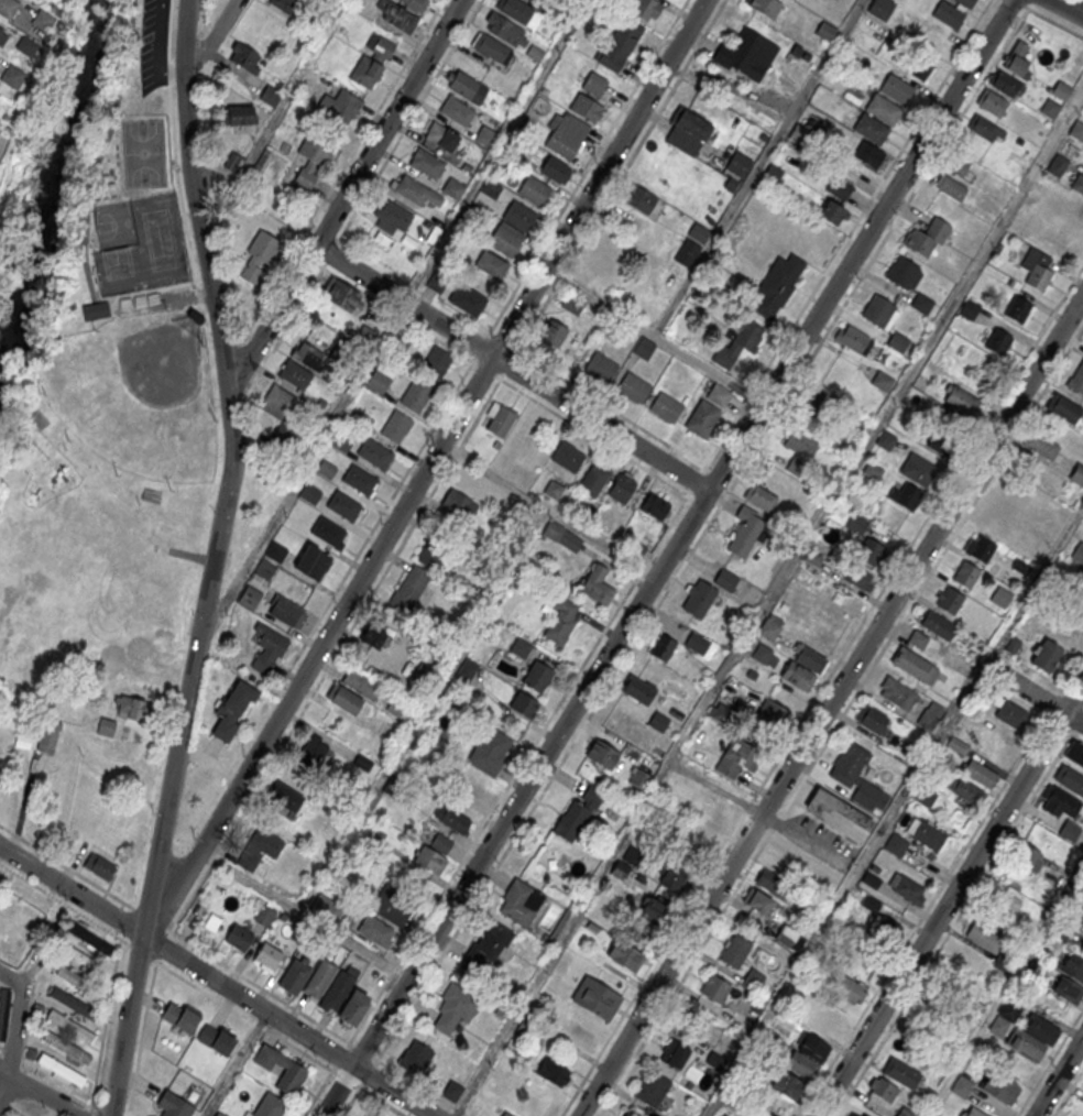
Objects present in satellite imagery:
building: (529, 0)
road: (1020, 3)
building: (415, 4)
road: (1073, 4)
building: (287, 6)
building: (765, 7)
building: (8, 8)
building: (880, 8)
building: (646, 9)
building: (515, 10)
building: (952, 12)
building: (398, 17)
building: (43, 20)
road: (1054, 21)
building: (504, 29)
building: (825, 31)
building: (2, 36)
road: (216, 36)
parking lot: (153, 44)
building: (617, 44)
building: (26, 45)
building: (491, 47)
road: (154, 50)
building: (746, 53)
building: (244, 58)
building: (372, 61)
building: (1017, 61)
building: (920, 64)
building: (13, 76)
building: (593, 84)
building: (1005, 84)
building: (466, 86)
building: (896, 88)
building: (1061, 89)
building: (269, 96)
building: (992, 101)
building: (340, 107)
building: (587, 108)
building: (1050, 108)
building: (883, 109)
building: (457, 110)
road: (278, 113)
building: (238, 116)
road: (409, 119)
building: (690, 123)
building: (871, 129)
building: (986, 129)
building: (1076, 130)
building: (566, 133)
building: (485, 138)
building: (440, 139)
road: (173, 147)
road: (102, 152)
road: (494, 152)
park: (142, 154)
building: (868, 154)
building: (426, 163)
building: (311, 164)
building: (737, 164)
building: (956, 165)
road: (757, 167)
building: (555, 169)
river: (53, 180)
road: (579, 180)
building: (1077, 183)
building: (951, 186)
building: (839, 187)
road: (612, 188)
building: (533, 192)
building: (416, 194)
road: (343, 196)
building: (637, 199)
building: (1079, 210)
building: (831, 212)
building: (392, 217)
building: (631, 225)
park: (114, 227)
building: (511, 229)
building: (698, 232)
building: (928, 236)
park: (146, 251)
building: (687, 252)
building: (258, 258)
building: (490, 266)
building: (1036, 267)
building: (902, 272)
building: (777, 284)
road: (150, 294)
building: (343, 297)
building: (467, 300)
building: (921, 303)
building: (571, 305)
building: (970, 308)
building: (1020, 310)
building: (879, 311)
building: (95, 314)
building: (551, 335)
road: (654, 336)
building: (853, 339)
building: (898, 341)
building: (997, 341)
building: (737, 342)
building: (644, 348)
building: (306, 355)
building: (436, 362)
building: (600, 366)
road: (511, 369)
road: (800, 373)
building: (293, 375)
building: (1077, 380)
building: (883, 381)
building: (378, 382)
building: (633, 386)
park: (106, 387)
building: (415, 393)
park: (136, 395)
building: (718, 395)
building: (962, 402)
building: (278, 404)
building: (665, 406)
building: (1063, 408)
building: (497, 418)
building: (702, 418)
building: (395, 426)
road: (593, 436)
building: (886, 440)
building: (341, 441)
building: (941, 445)
building: (1039, 448)
building: (799, 449)
building: (375, 453)
building: (567, 456)
road: (425, 469)
building: (918, 469)
building: (872, 470)
building: (1076, 475)
building: (359, 479)
building: (593, 479)
building: (621, 489)
building: (905, 495)
building: (759, 496)
road: (389, 500)
building: (342, 505)
building: (458, 506)
building: (654, 507)
building: (999, 512)
road: (671, 521)
building: (856, 524)
building: (745, 530)
building: (328, 532)
building: (566, 540)
building: (978, 548)
building: (274, 551)
building: (434, 551)
building: (871, 551)
building: (1077, 552)
road: (667, 558)
road: (212, 559)
building: (313, 561)
building: (264, 569)
building: (965, 575)
building: (858, 578)
building: (725, 579)
building: (1076, 581)
building: (597, 584)
building: (409, 590)
building: (1000, 595)
building: (249, 597)
building: (698, 598)
building: (950, 600)
road: (769, 603)
building: (285, 610)
building: (560, 621)
building: (938, 625)
building: (769, 627)
building: (373, 637)
building: (918, 638)
building: (696, 642)
building: (660, 646)
building: (1015, 646)
building: (519, 647)
building: (267, 652)
road: (335, 655)
building: (764, 655)
building: (1047, 655)
building: (809, 658)
building: (914, 664)
building: (466, 670)
building: (536, 675)
building: (797, 675)
building: (360, 683)
building: (637, 689)
road: (821, 689)
building: (898, 692)
road: (1032, 694)
building: (344, 699)
road: (830, 704)
building: (525, 705)
building: (131, 707)
building: (395, 707)
building: (232, 711)
building: (1009, 711)
building: (719, 712)
building: (930, 715)
building: (772, 718)
road: (839, 719)
building: (872, 719)
building: (659, 722)
building: (106, 726)
building: (47, 736)
building: (958, 745)
building: (314, 752)
building: (1075, 752)
building: (491, 753)
building: (602, 754)
building: (737, 757)
building: (851, 764)
building: (978, 773)
building: (639, 778)
building: (1070, 778)
building: (964, 789)
building: (867, 794)
building: (925, 797)
building: (284, 799)
building: (1059, 801)
road: (895, 809)
building: (579, 812)
building: (839, 814)
building: (452, 817)
building: (1070, 831)
building: (926, 833)
building: (895, 844)
building: (258, 849)
building: (631, 855)
building: (431, 858)
building: (1027, 858)
building: (98, 865)
building: (874, 867)
building: (871, 879)
building: (773, 883)
road: (941, 886)
building: (906, 888)
road: (950, 899)
building: (519, 901)
building: (757, 902)
building: (393, 906)
building: (652, 910)
building: (326, 911)
road: (302, 915)
road: (959, 915)
building: (879, 923)
building: (375, 930)
building: (787, 937)
building: (982, 937)
building: (89, 938)
building: (238, 939)
road: (163, 945)
building: (485, 950)
building: (735, 952)
building: (624, 955)
building: (266, 958)
building: (80, 959)
building: (1072, 966)
road: (233, 970)
road: (178, 975)
building: (294, 975)
building: (319, 978)
road: (217, 980)
building: (77, 981)
building: (714, 987)
building: (1066, 987)
road: (1004, 988)
building: (850, 989)
building: (953, 992)
building: (595, 998)
building: (74, 1003)
building: (353, 1006)
building: (455, 1006)
building: (1009, 1009)
building: (4, 1011)
building: (179, 1017)
road: (15, 1020)
building: (998, 1025)
building: (825, 1026)
building: (69, 1027)
building: (1040, 1028)
road: (141, 1035)
building: (216, 1040)
building: (1025, 1043)
building: (65, 1047)
building: (811, 1047)
building: (675, 1053)
building: (415, 1057)
road: (1049, 1062)
road: (236, 1063)
building: (59, 1070)
building: (551, 1071)
building: (901, 1072)
road: (1058, 1076)
building: (289, 1079)
building: (787, 1084)
building: (961, 1086)
building: (999, 1086)
road: (4, 1087)
building: (883, 1088)
building: (650, 1090)
building: (1082, 1090)
road: (1068, 1091)
building: (451, 1092)
road: (317, 1093)
road: (368, 1093)
road: (37, 1096)
building: (173, 1105)
building: (267, 1106)
building: (906, 1112)
building: (973, 1112)
building: (219, 1114)
building: (368, 1114)
building: (371, 1114)
building: (505, 1114)
building: (627, 1114)
building: (764, 1114)
building: (850, 1115)

